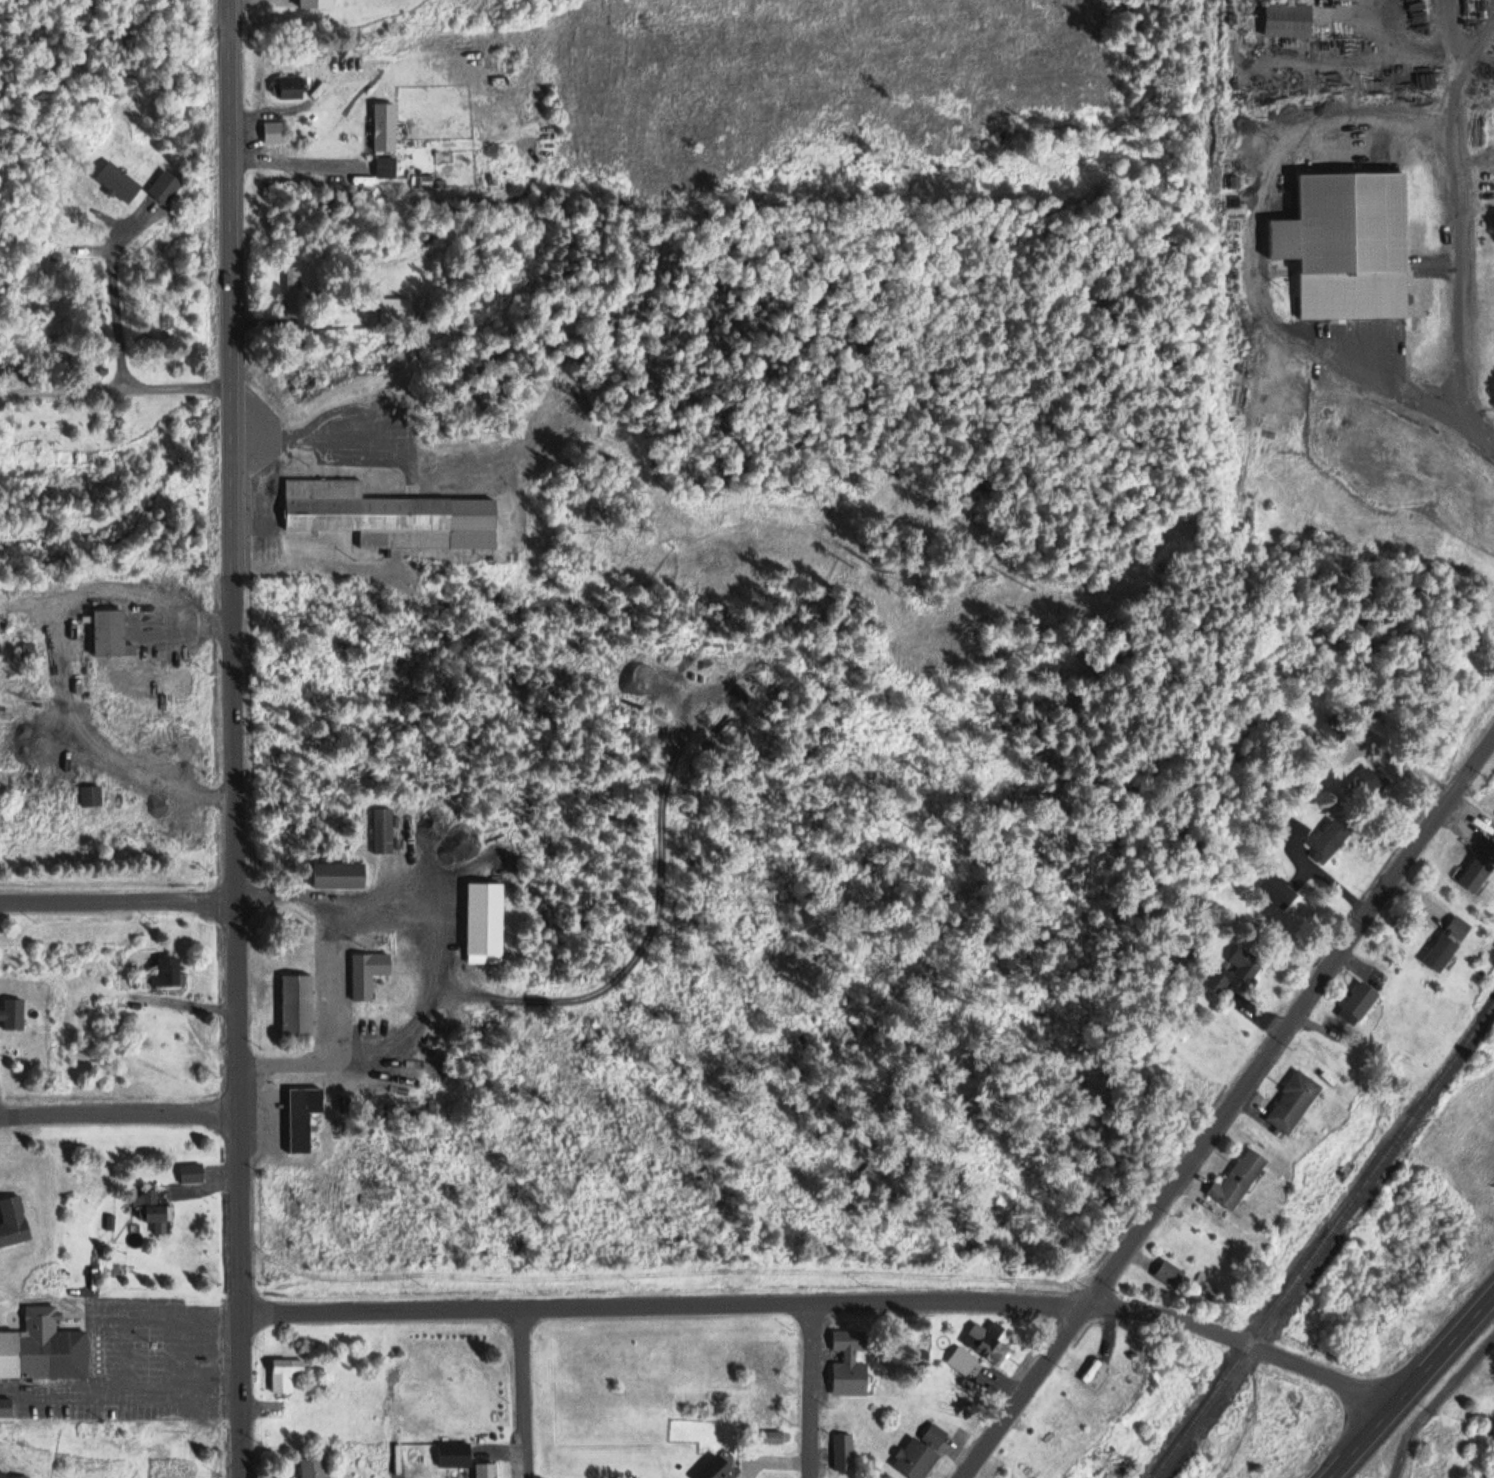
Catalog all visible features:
building: (317, 3)
building: (294, 88)
building: (386, 128)
building: (275, 130)
building: (387, 168)
road: (1465, 226)
building: (1350, 241)
road: (231, 245)
building: (293, 294)
building: (397, 310)
road: (116, 390)
building: (390, 514)
building: (5, 605)
building: (111, 631)
building: (1337, 730)
building: (1367, 787)
building: (91, 794)
building: (384, 828)
building: (1329, 842)
building: (1481, 869)
building: (339, 873)
building: (1279, 890)
road: (119, 900)
building: (486, 917)
building: (1450, 944)
building: (369, 970)
building: (1237, 970)
building: (169, 972)
road: (239, 984)
building: (300, 1003)
building: (1360, 1003)
building: (13, 1015)
building: (1294, 1102)
road: (1228, 1104)
road: (120, 1111)
building: (308, 1119)
building: (193, 1175)
building: (1239, 1181)
building: (155, 1209)
building: (14, 1223)
railway: (1326, 1243)
building: (1171, 1276)
road: (831, 1302)
building: (988, 1345)
building: (44, 1347)
building: (765, 1355)
building: (964, 1362)
building: (851, 1365)
building: (286, 1375)
road: (1412, 1385)
road: (526, 1390)
road: (819, 1390)
building: (6, 1407)
building: (766, 1424)
building: (844, 1451)
building: (922, 1454)
building: (456, 1455)
building: (314, 1467)
building: (719, 1468)
building: (488, 1470)
building: (15, 1475)

